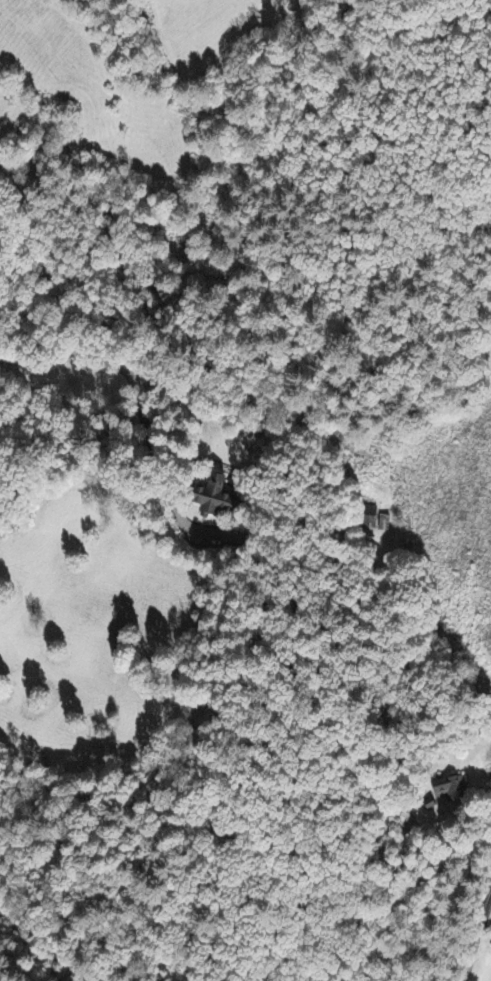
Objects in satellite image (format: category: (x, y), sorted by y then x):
road: (78, 352)
building: (214, 498)
building: (369, 519)
building: (451, 791)
road: (456, 926)

